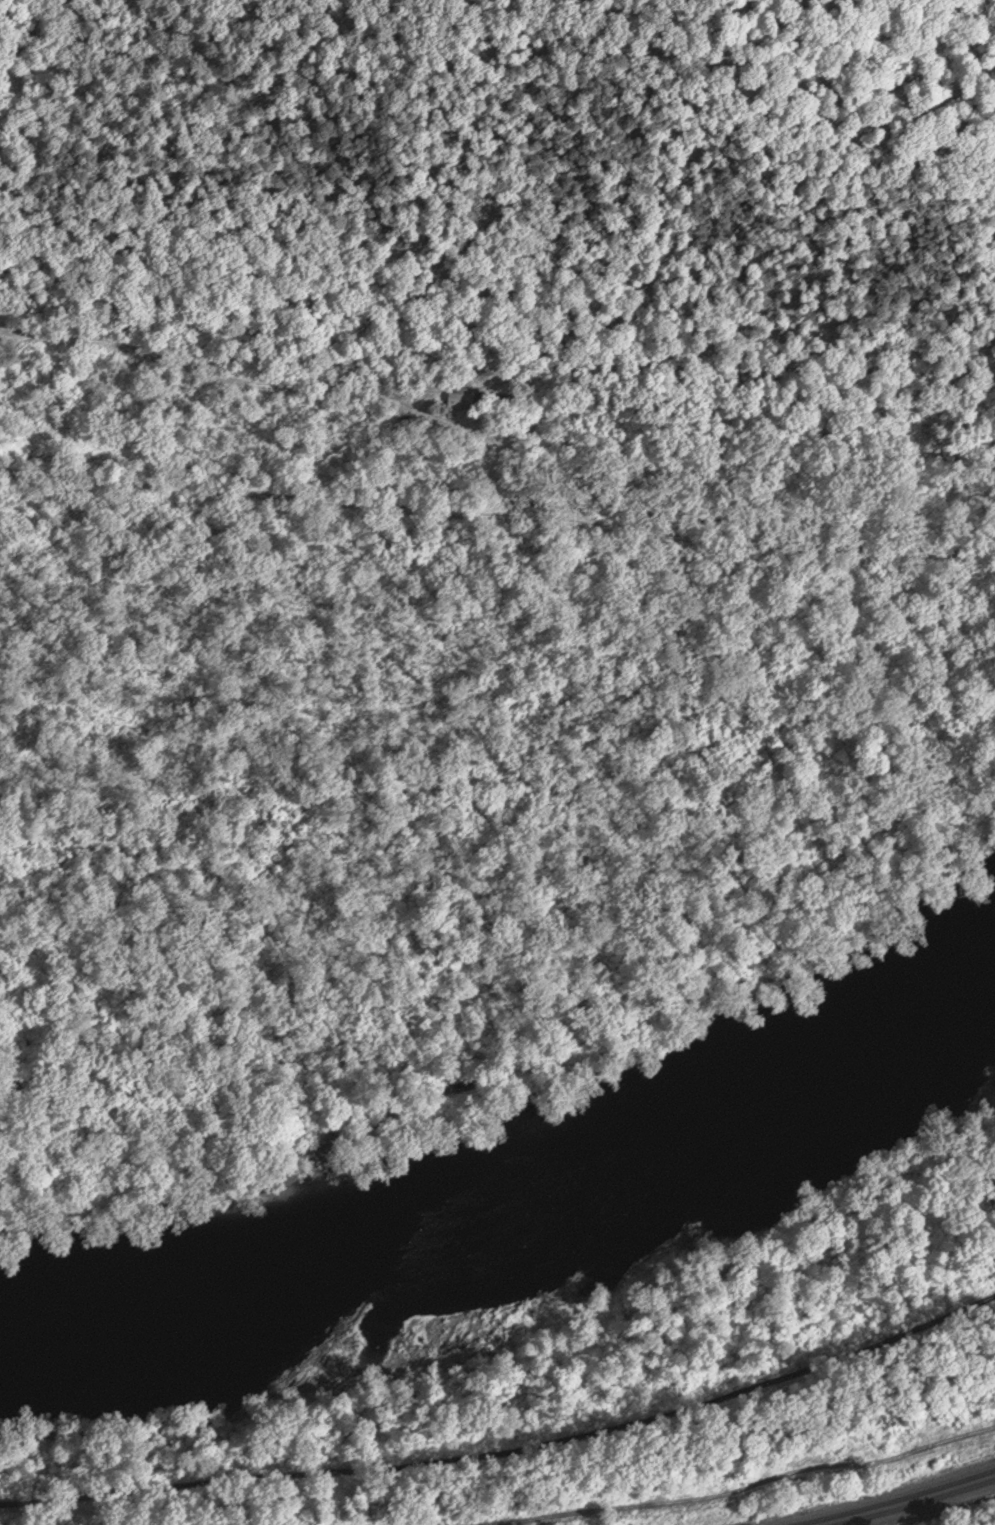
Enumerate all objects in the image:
road: (23, 39)
road: (214, 375)
road: (497, 516)
river: (515, 1217)
road: (509, 1453)
railway: (898, 1499)
railway: (916, 1504)

